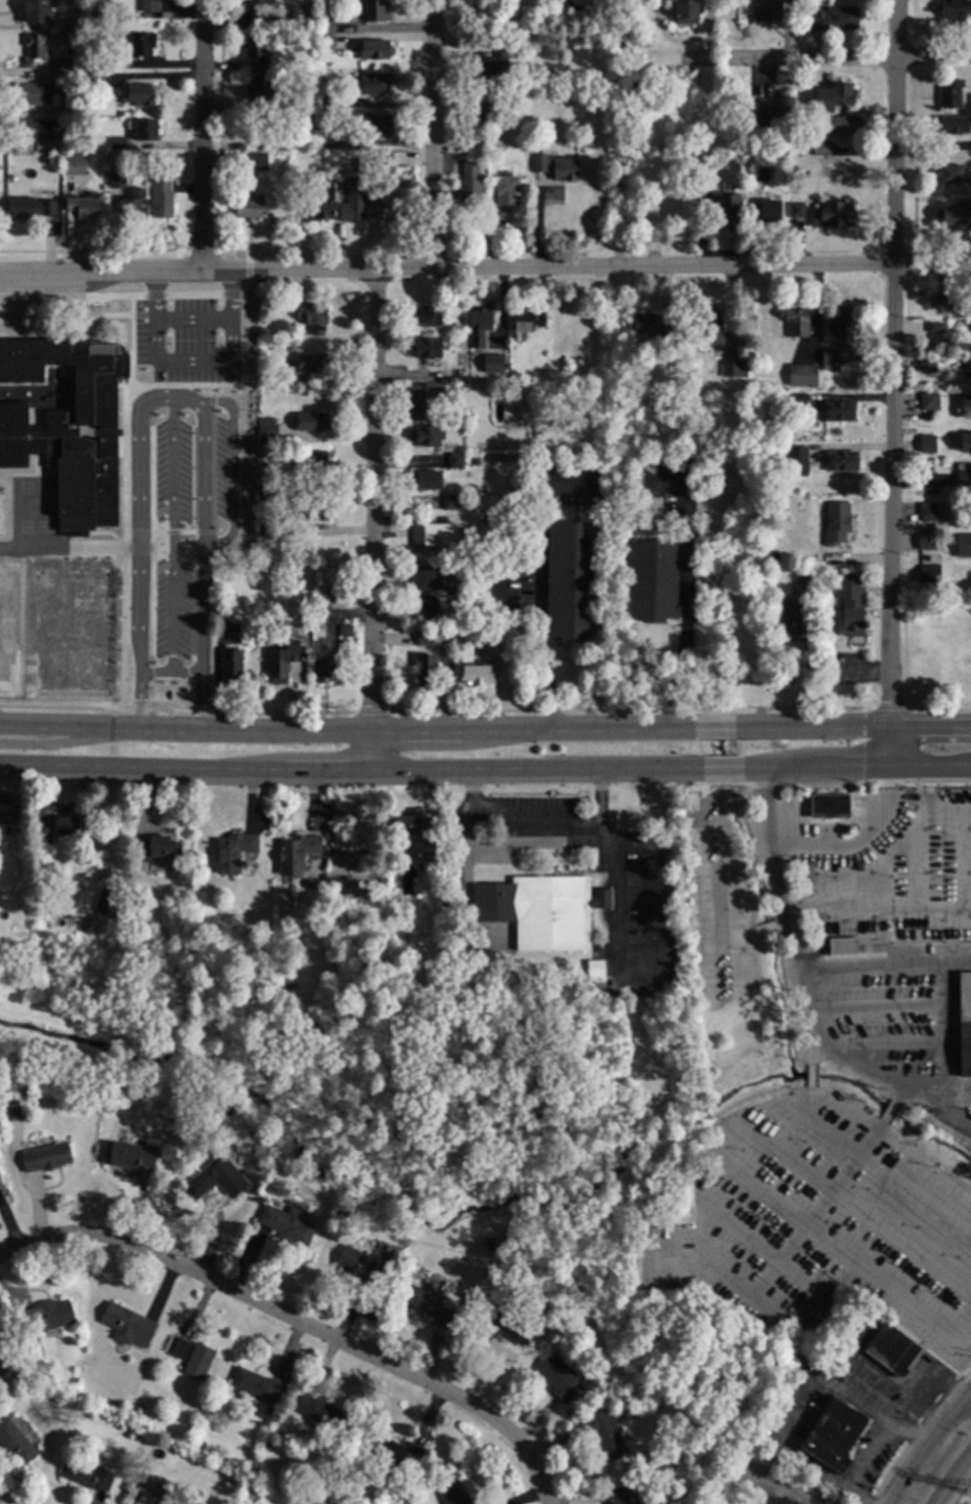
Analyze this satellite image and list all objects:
building: (260, 3)
building: (150, 6)
building: (970, 7)
building: (100, 9)
building: (952, 9)
building: (35, 10)
building: (375, 11)
building: (767, 11)
building: (687, 12)
building: (832, 19)
building: (255, 22)
building: (328, 27)
building: (519, 35)
building: (137, 43)
building: (327, 44)
building: (374, 49)
building: (34, 50)
building: (258, 51)
road: (821, 60)
building: (96, 64)
building: (61, 69)
building: (493, 69)
building: (95, 79)
building: (309, 83)
building: (374, 84)
building: (263, 90)
building: (33, 94)
building: (139, 94)
building: (951, 94)
building: (835, 97)
building: (327, 102)
building: (970, 102)
building: (73, 106)
building: (487, 115)
building: (760, 116)
building: (515, 117)
building: (952, 124)
building: (378, 125)
building: (841, 126)
building: (324, 127)
building: (37, 129)
building: (146, 130)
road: (432, 134)
road: (201, 135)
building: (331, 140)
building: (117, 143)
building: (821, 150)
building: (380, 157)
building: (54, 160)
building: (257, 161)
building: (742, 163)
building: (74, 165)
building: (556, 167)
building: (760, 172)
building: (952, 175)
building: (117, 180)
building: (470, 185)
building: (506, 196)
building: (162, 201)
building: (353, 201)
building: (134, 205)
building: (322, 205)
building: (85, 206)
building: (27, 207)
building: (386, 207)
building: (248, 208)
building: (796, 208)
building: (727, 209)
building: (769, 211)
building: (835, 214)
building: (953, 215)
road: (247, 266)
road: (485, 269)
road: (241, 287)
road: (191, 295)
road: (230, 295)
road: (153, 296)
road: (71, 297)
building: (943, 302)
building: (970, 305)
road: (86, 307)
road: (99, 307)
building: (311, 315)
road: (99, 316)
road: (142, 316)
building: (425, 316)
road: (192, 320)
building: (540, 320)
building: (522, 322)
building: (796, 322)
building: (841, 323)
building: (712, 326)
building: (479, 327)
building: (935, 327)
building: (650, 330)
parking lot: (185, 342)
building: (290, 346)
building: (425, 348)
building: (828, 359)
road: (192, 361)
building: (492, 363)
building: (312, 364)
building: (925, 364)
building: (969, 368)
building: (734, 369)
road: (236, 372)
building: (281, 374)
building: (794, 382)
road: (890, 383)
building: (812, 385)
road: (138, 386)
road: (210, 391)
road: (170, 398)
building: (425, 399)
building: (798, 402)
building: (929, 402)
building: (966, 407)
building: (839, 411)
building: (456, 419)
building: (312, 421)
road: (137, 427)
building: (68, 429)
building: (267, 433)
building: (425, 436)
building: (965, 443)
building: (927, 444)
building: (803, 450)
building: (455, 461)
building: (842, 461)
building: (796, 462)
road: (34, 466)
road: (231, 468)
building: (317, 468)
parking lot: (220, 470)
road: (211, 473)
road: (28, 476)
building: (964, 479)
building: (425, 480)
building: (932, 490)
road: (57, 492)
building: (264, 492)
building: (453, 502)
building: (781, 510)
building: (313, 511)
road: (161, 512)
building: (927, 512)
road: (371, 522)
building: (837, 523)
building: (932, 527)
building: (264, 528)
road: (171, 533)
road: (186, 533)
road: (108, 534)
road: (171, 534)
building: (433, 535)
parking lot: (171, 539)
road: (157, 540)
building: (926, 541)
road: (150, 546)
road: (187, 546)
building: (964, 546)
road: (124, 547)
road: (97, 548)
road: (137, 548)
road: (71, 549)
building: (497, 549)
road: (687, 564)
road: (160, 568)
road: (520, 570)
building: (929, 573)
building: (803, 575)
building: (428, 578)
building: (573, 581)
building: (653, 581)
road: (541, 584)
road: (499, 593)
building: (850, 602)
building: (427, 605)
building: (223, 612)
building: (284, 614)
building: (318, 614)
building: (791, 616)
road: (519, 617)
building: (345, 632)
building: (486, 633)
building: (425, 638)
building: (327, 663)
building: (278, 664)
building: (231, 665)
road: (186, 671)
building: (426, 671)
road: (155, 672)
building: (475, 675)
road: (676, 683)
road: (60, 708)
road: (673, 711)
road: (851, 727)
road: (716, 729)
road: (349, 730)
road: (50, 744)
road: (855, 767)
road: (720, 770)
road: (350, 773)
building: (829, 805)
building: (9, 811)
building: (65, 824)
building: (407, 825)
road: (517, 826)
building: (45, 836)
road: (857, 839)
building: (155, 849)
building: (234, 852)
building: (297, 854)
building: (435, 861)
building: (43, 904)
building: (106, 904)
building: (137, 907)
road: (783, 909)
building: (554, 912)
building: (842, 947)
road: (882, 967)
building: (595, 969)
building: (447, 977)
road: (645, 980)
road: (874, 1011)
building: (963, 1024)
road: (947, 1054)
road: (809, 1057)
park: (376, 1074)
road: (885, 1077)
road: (810, 1078)
road: (960, 1091)
road: (899, 1092)
building: (85, 1099)
building: (107, 1102)
building: (12, 1112)
road: (887, 1112)
road: (879, 1126)
building: (129, 1155)
building: (46, 1158)
road: (924, 1168)
building: (216, 1179)
building: (1, 1185)
building: (287, 1225)
building: (488, 1243)
road: (699, 1243)
road: (838, 1248)
building: (357, 1265)
building: (426, 1304)
building: (47, 1316)
road: (297, 1321)
building: (128, 1325)
road: (964, 1326)
building: (499, 1329)
building: (180, 1348)
building: (892, 1349)
building: (198, 1361)
building: (557, 1378)
building: (255, 1384)
building: (34, 1386)
building: (319, 1412)
building: (712, 1428)
road: (914, 1430)
building: (700, 1432)
building: (833, 1433)
building: (132, 1434)
building: (606, 1434)
building: (15, 1442)
building: (200, 1445)
road: (926, 1447)
road: (872, 1451)
building: (396, 1453)
building: (86, 1474)
road: (952, 1480)
building: (229, 1484)
road: (788, 1491)
road: (859, 1493)
building: (453, 1494)
building: (616, 1496)
building: (150, 1499)
building: (776, 1501)
road: (869, 1502)

